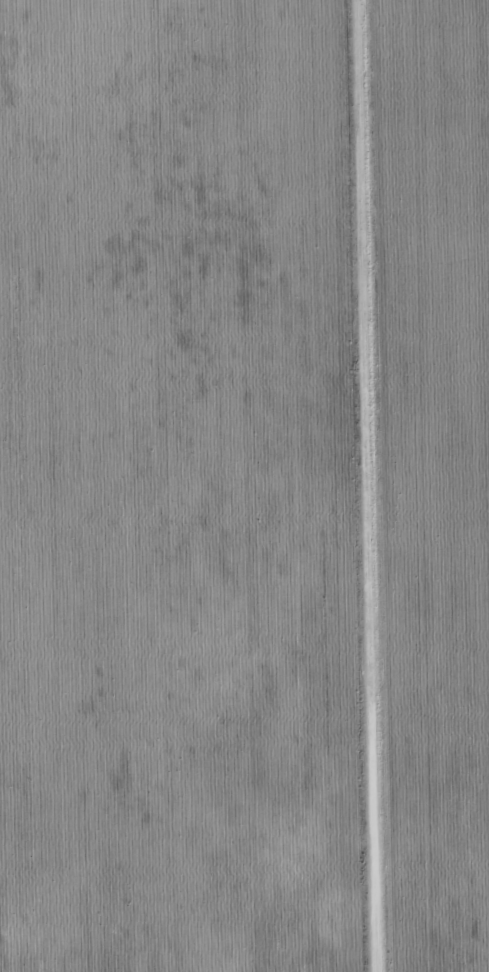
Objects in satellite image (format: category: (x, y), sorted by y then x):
road: (374, 485)

